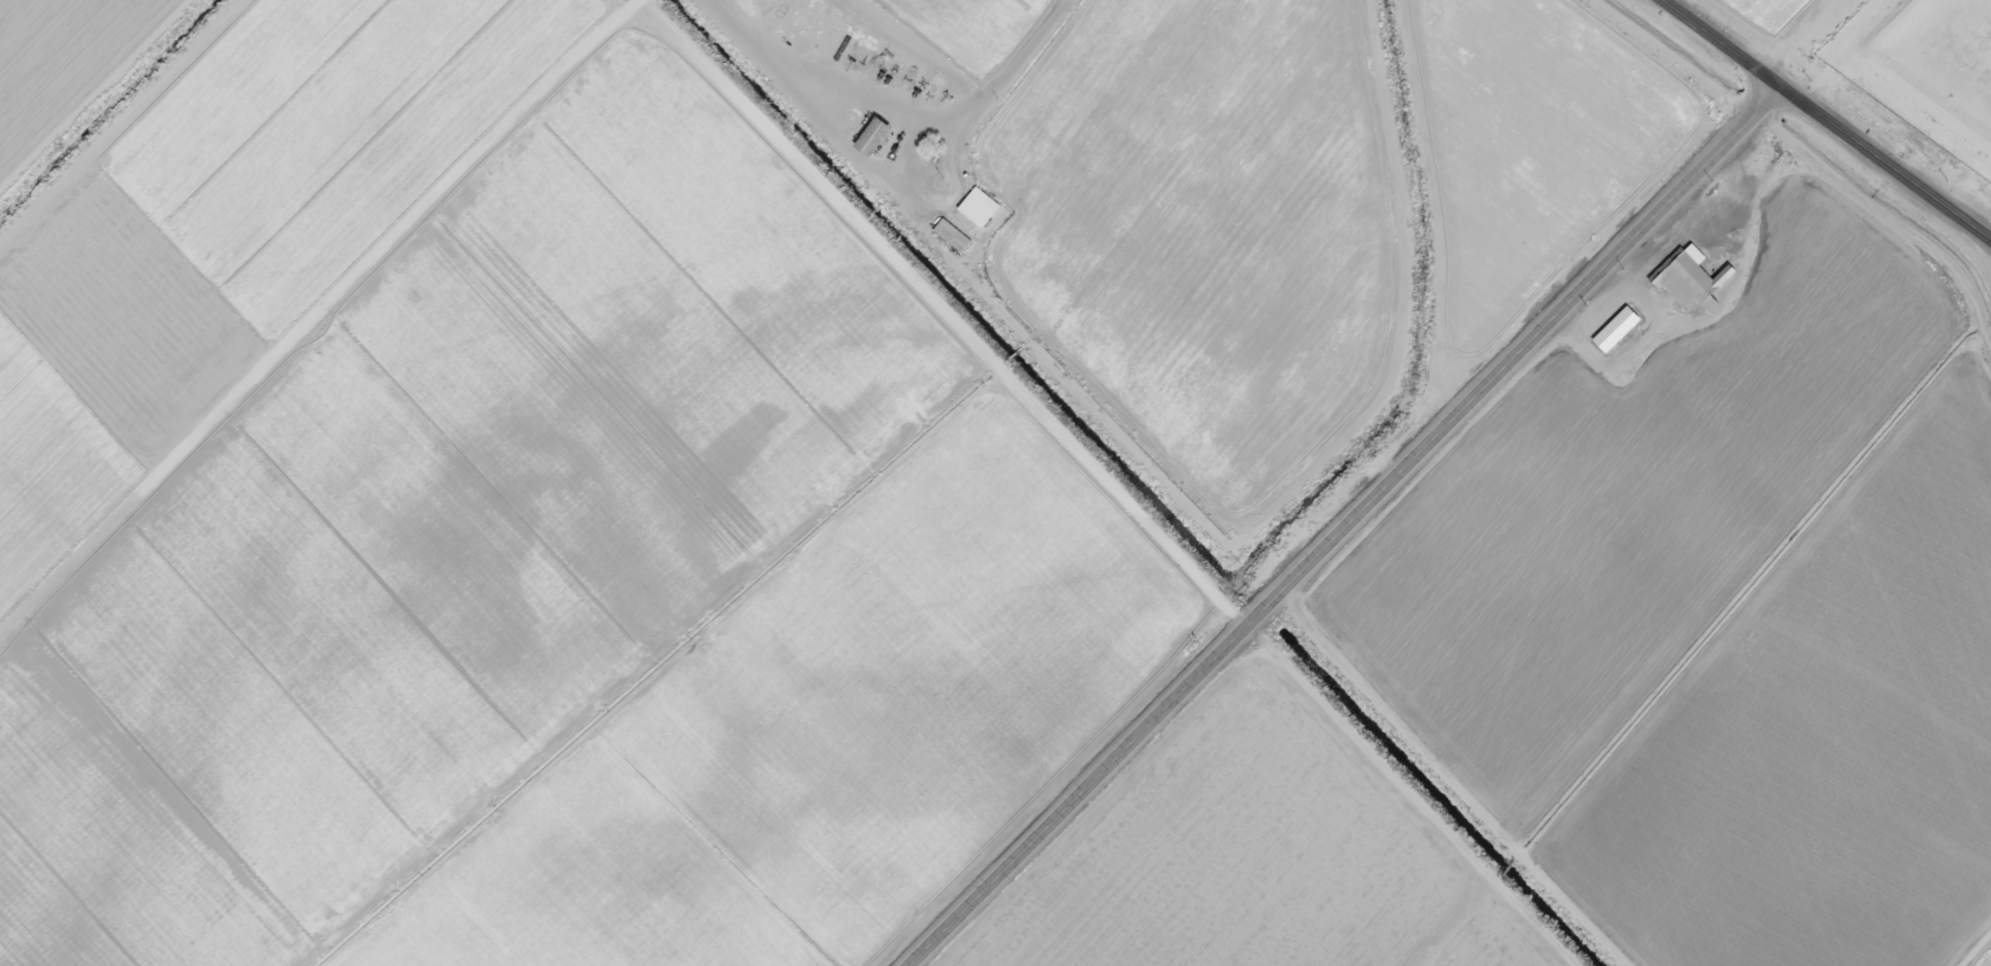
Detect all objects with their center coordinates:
road: (1028, 113)
road: (1822, 122)
road: (156, 155)
road: (943, 314)
building: (1617, 326)
road: (1350, 529)
road: (1463, 781)

